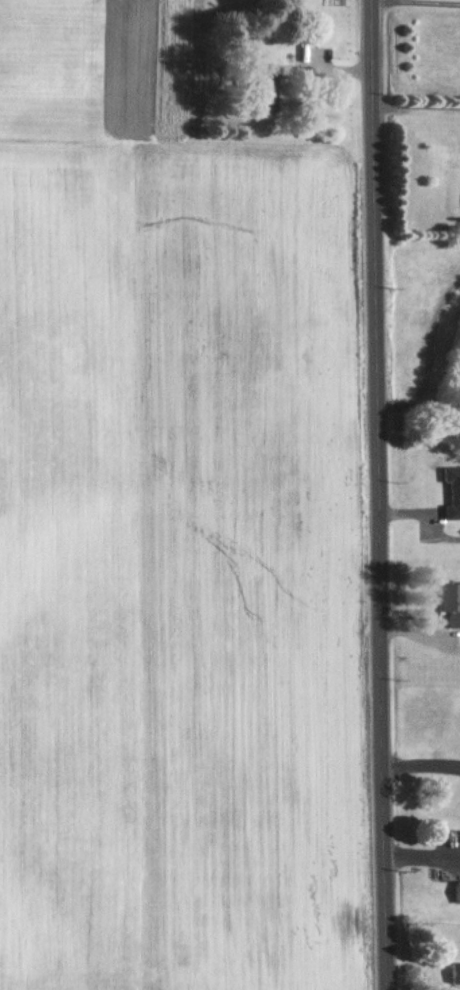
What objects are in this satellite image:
road: (412, 2)
building: (286, 66)
road: (326, 69)
building: (256, 86)
road: (413, 111)
road: (425, 358)
building: (446, 490)
road: (364, 495)
building: (444, 601)
building: (445, 834)
building: (450, 891)
building: (447, 971)

